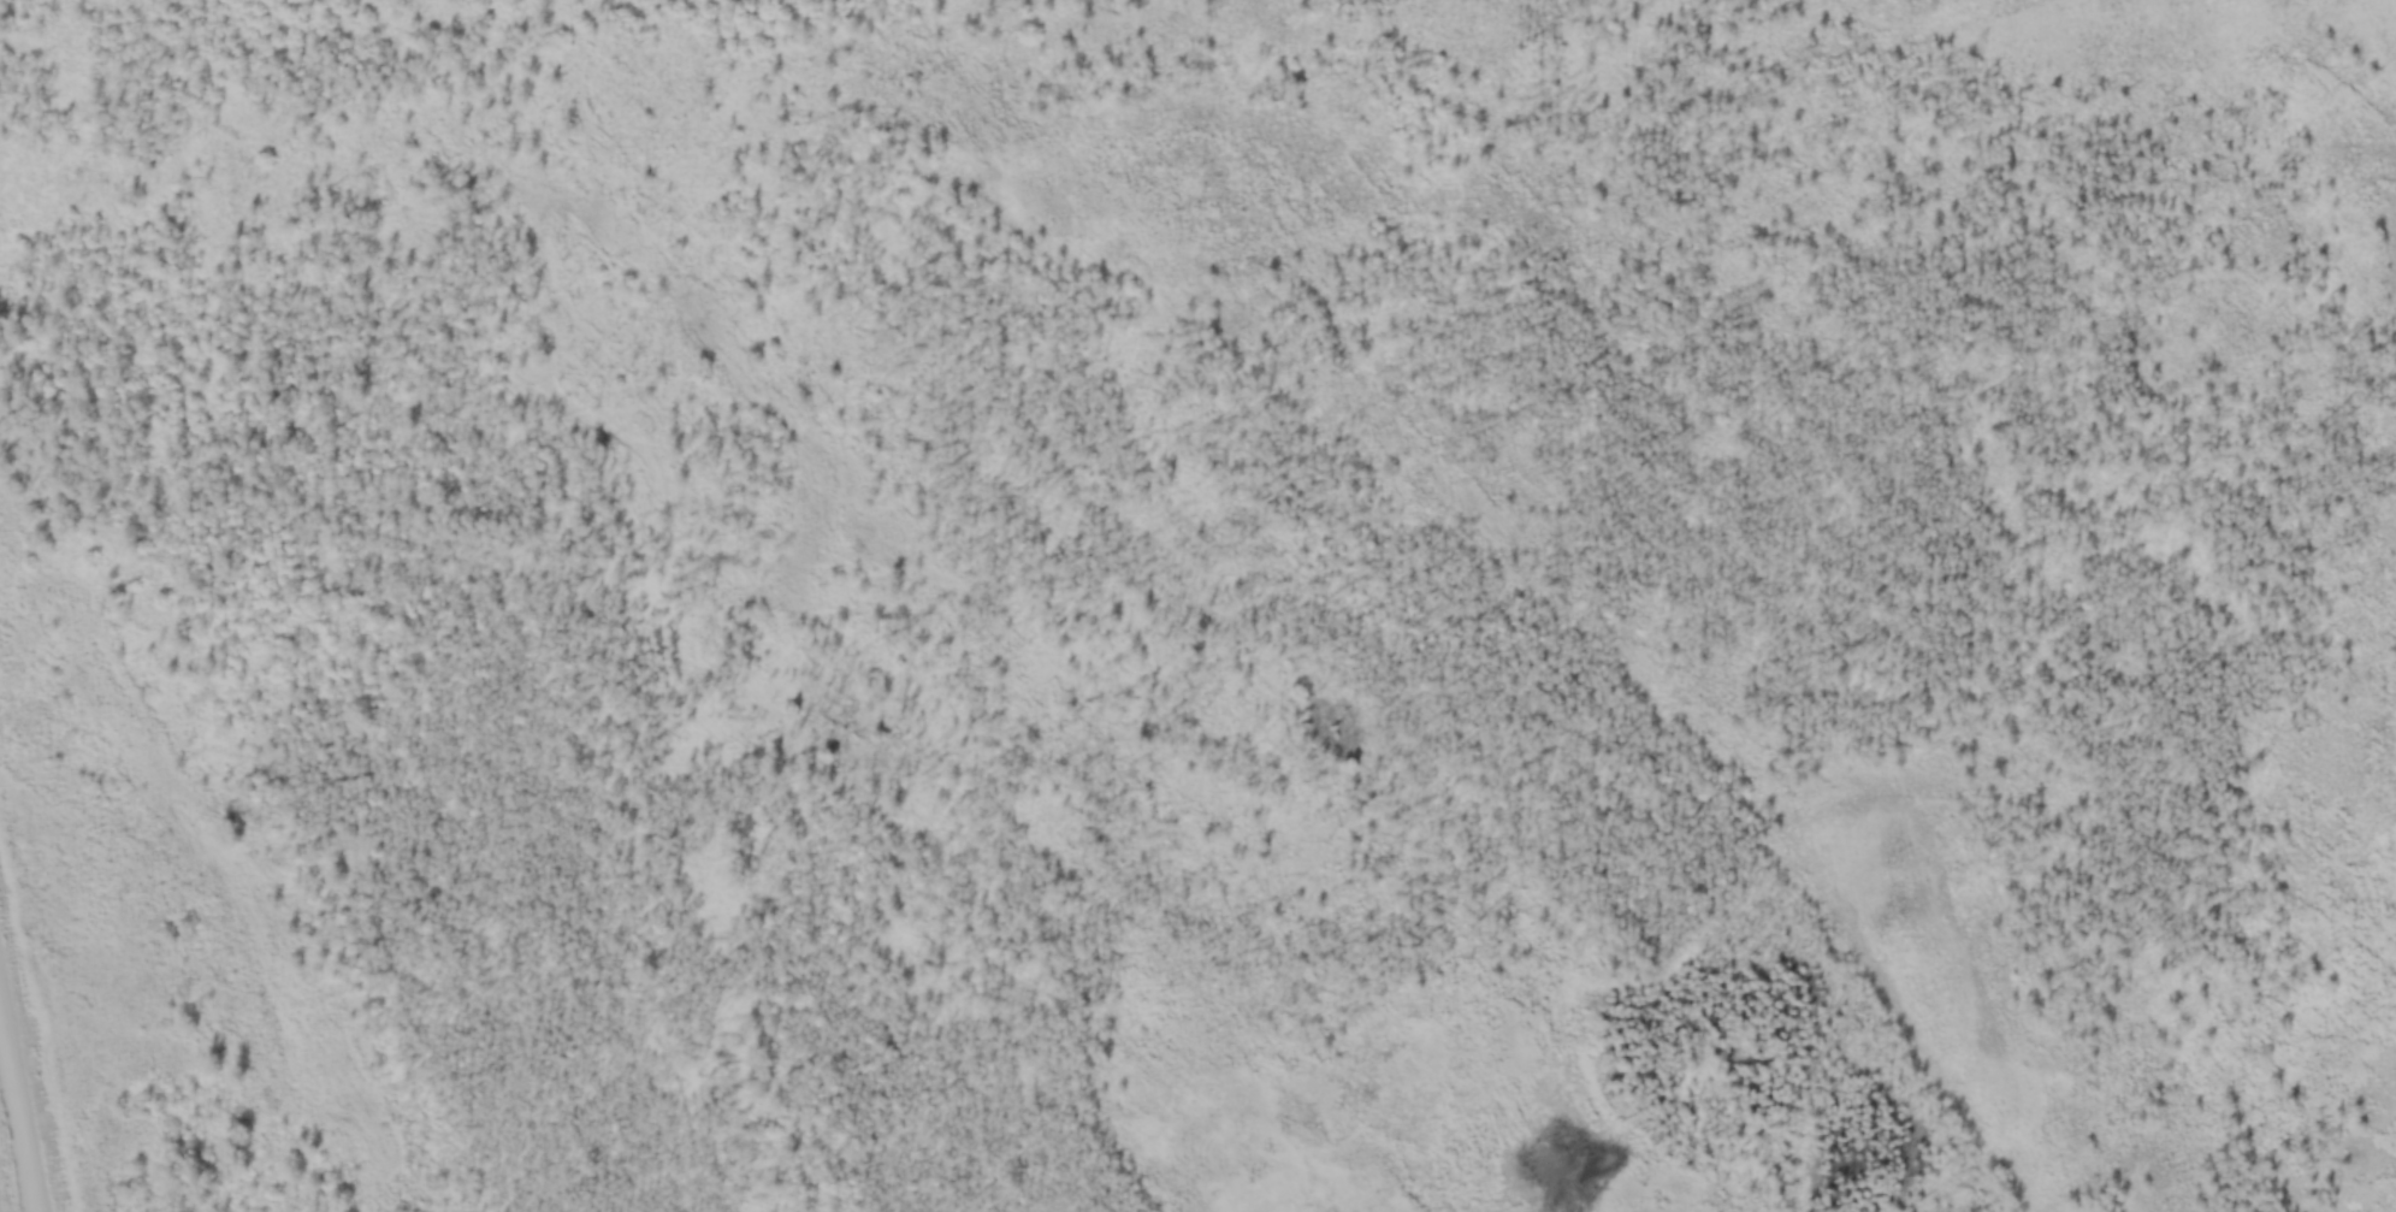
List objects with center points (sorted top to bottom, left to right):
road: (7, 1172)

